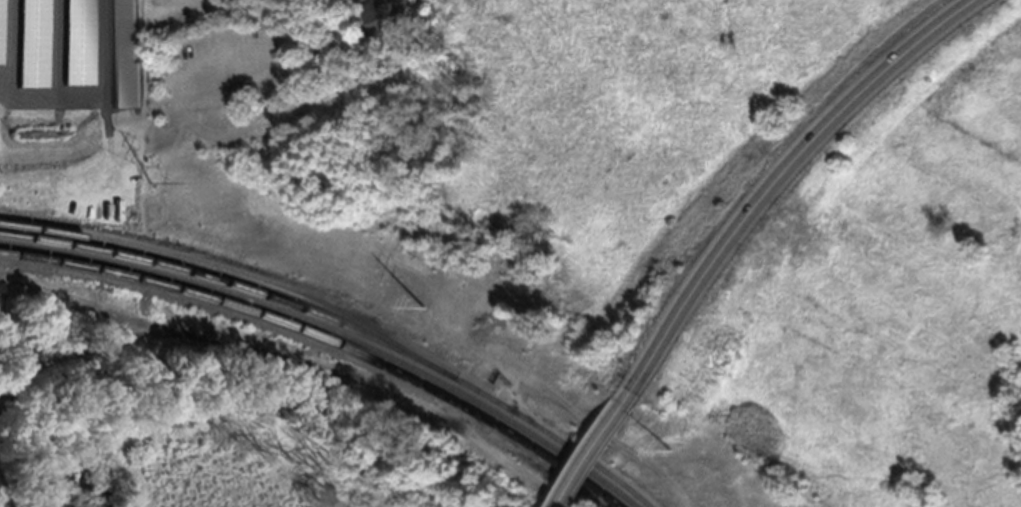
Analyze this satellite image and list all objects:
building: (359, 3)
road: (776, 183)
power tower: (150, 190)
railway: (239, 284)
power tower: (421, 314)
railway: (338, 330)
railway: (329, 338)
railway: (320, 344)
road: (104, 351)
road: (293, 367)
road: (25, 383)
road: (587, 457)
power tower: (666, 458)

